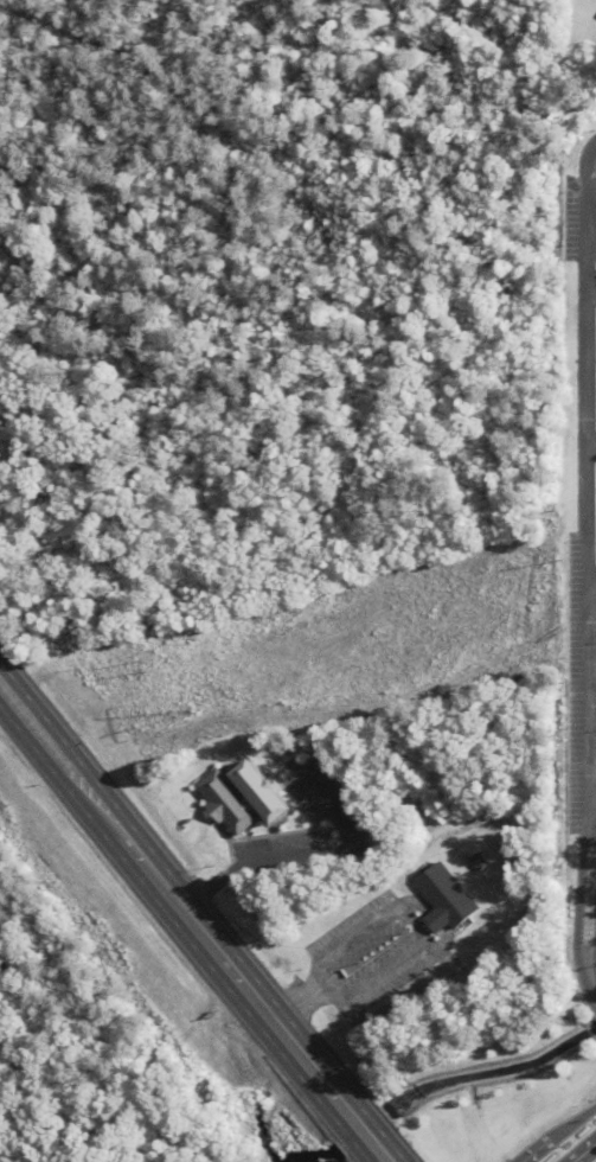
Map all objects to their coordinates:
road: (581, 211)
road: (589, 287)
road: (583, 435)
road: (589, 439)
road: (590, 583)
road: (585, 700)
power tower: (190, 711)
road: (94, 781)
road: (591, 788)
building: (223, 805)
road: (88, 809)
road: (302, 849)
building: (442, 899)
road: (579, 909)
road: (415, 925)
road: (295, 1010)
road: (267, 1017)
road: (363, 1135)
road: (563, 1136)
road: (582, 1150)
road: (377, 1153)

